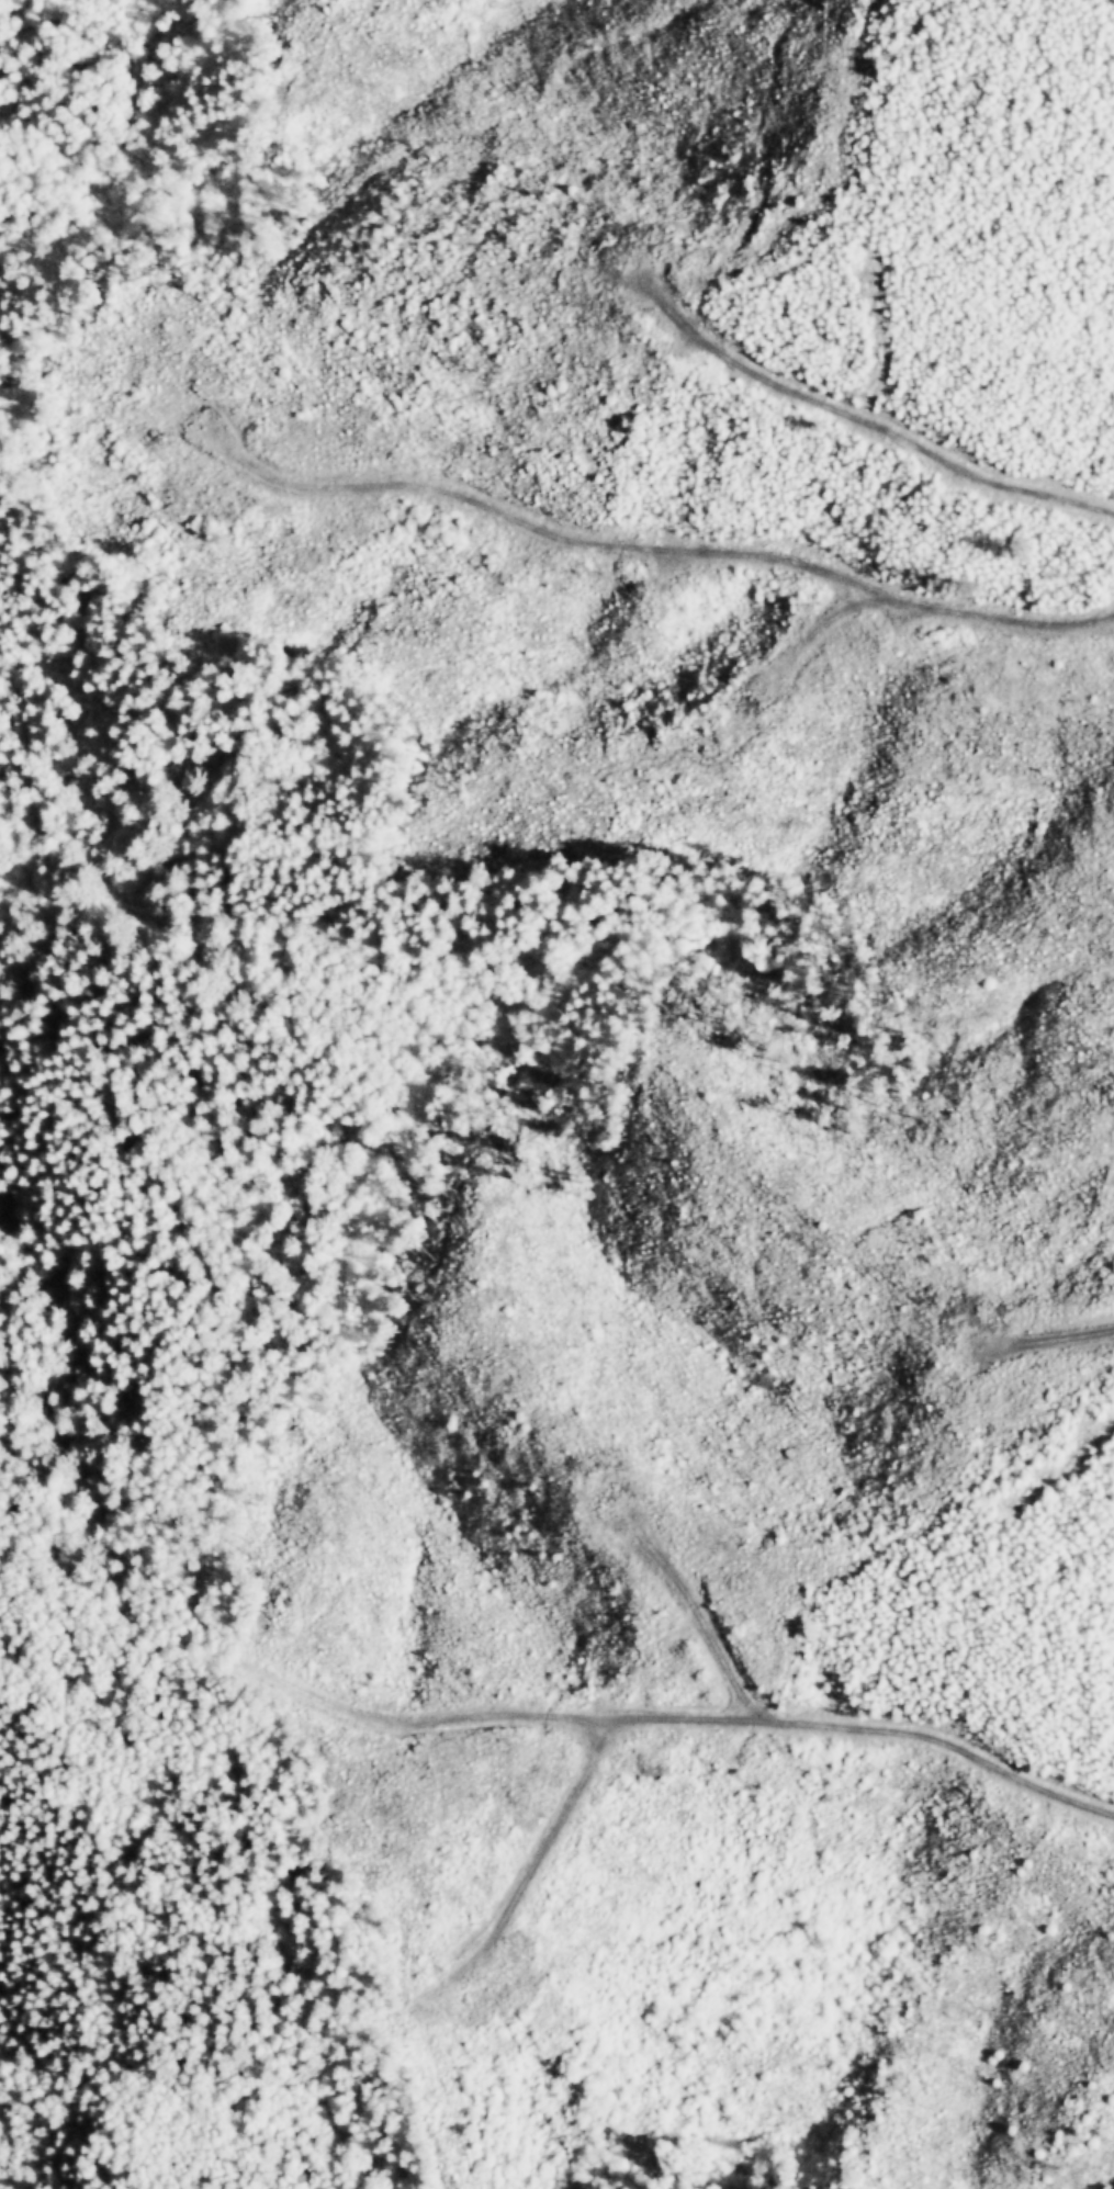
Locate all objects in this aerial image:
road: (532, 1692)

